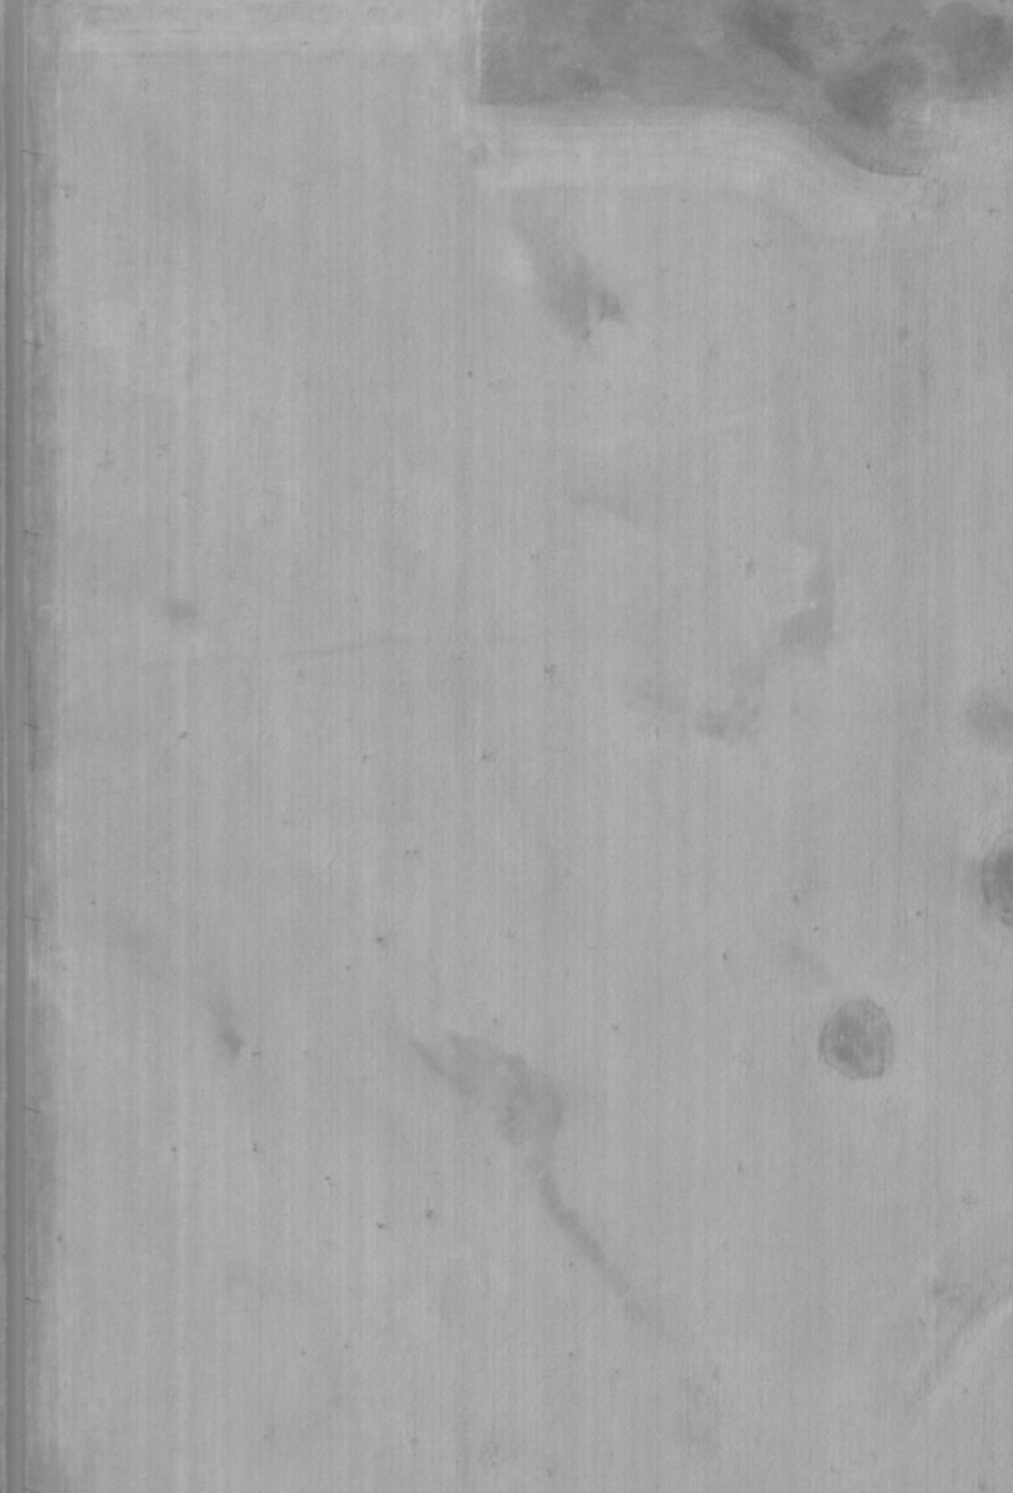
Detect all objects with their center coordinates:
road: (15, 746)
crop: (514, 777)

